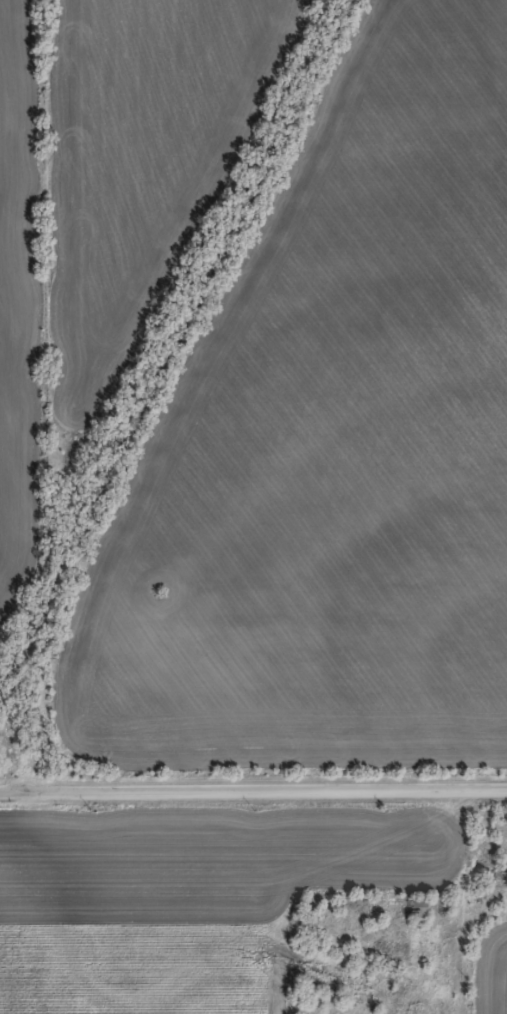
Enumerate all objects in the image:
road: (253, 808)

